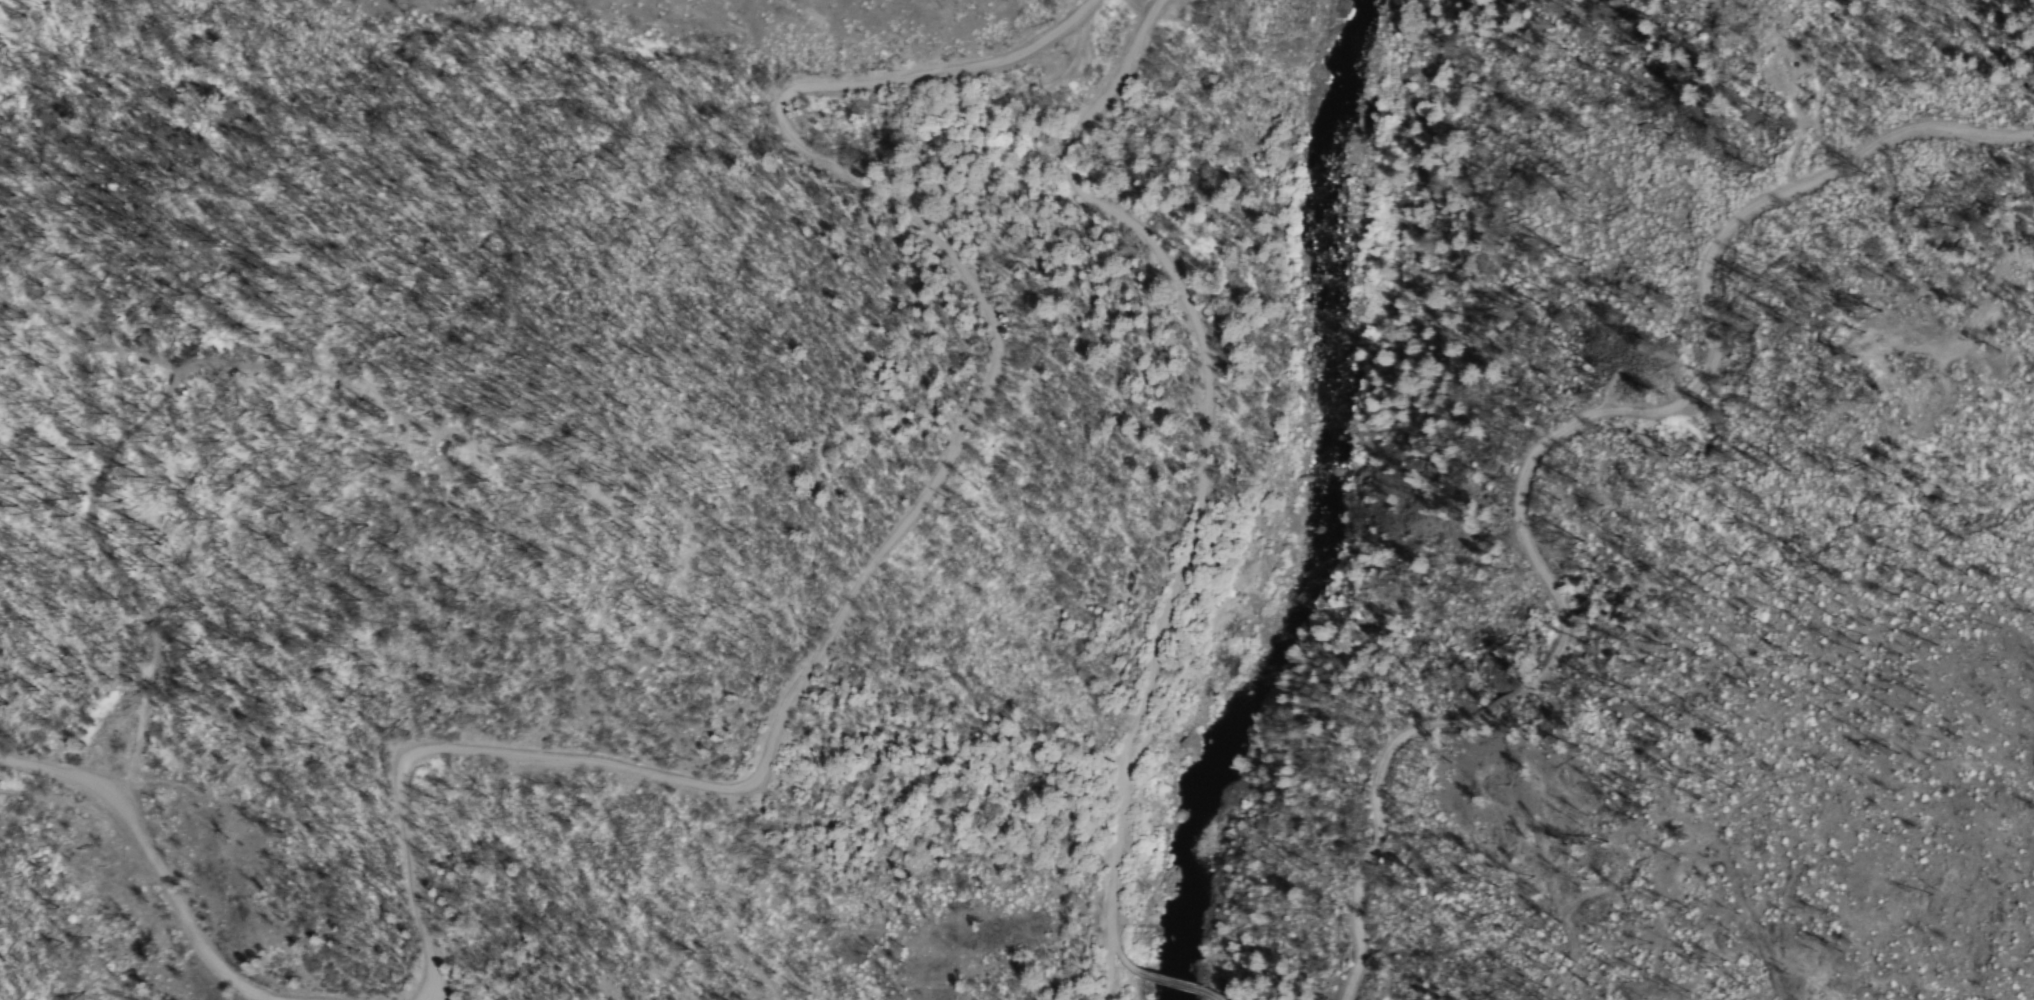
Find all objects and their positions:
road: (1536, 444)
road: (1202, 465)
river: (1282, 504)
road: (898, 530)
road: (153, 849)
road: (1092, 960)
road: (1159, 980)
road: (1060, 985)
road: (1204, 996)

